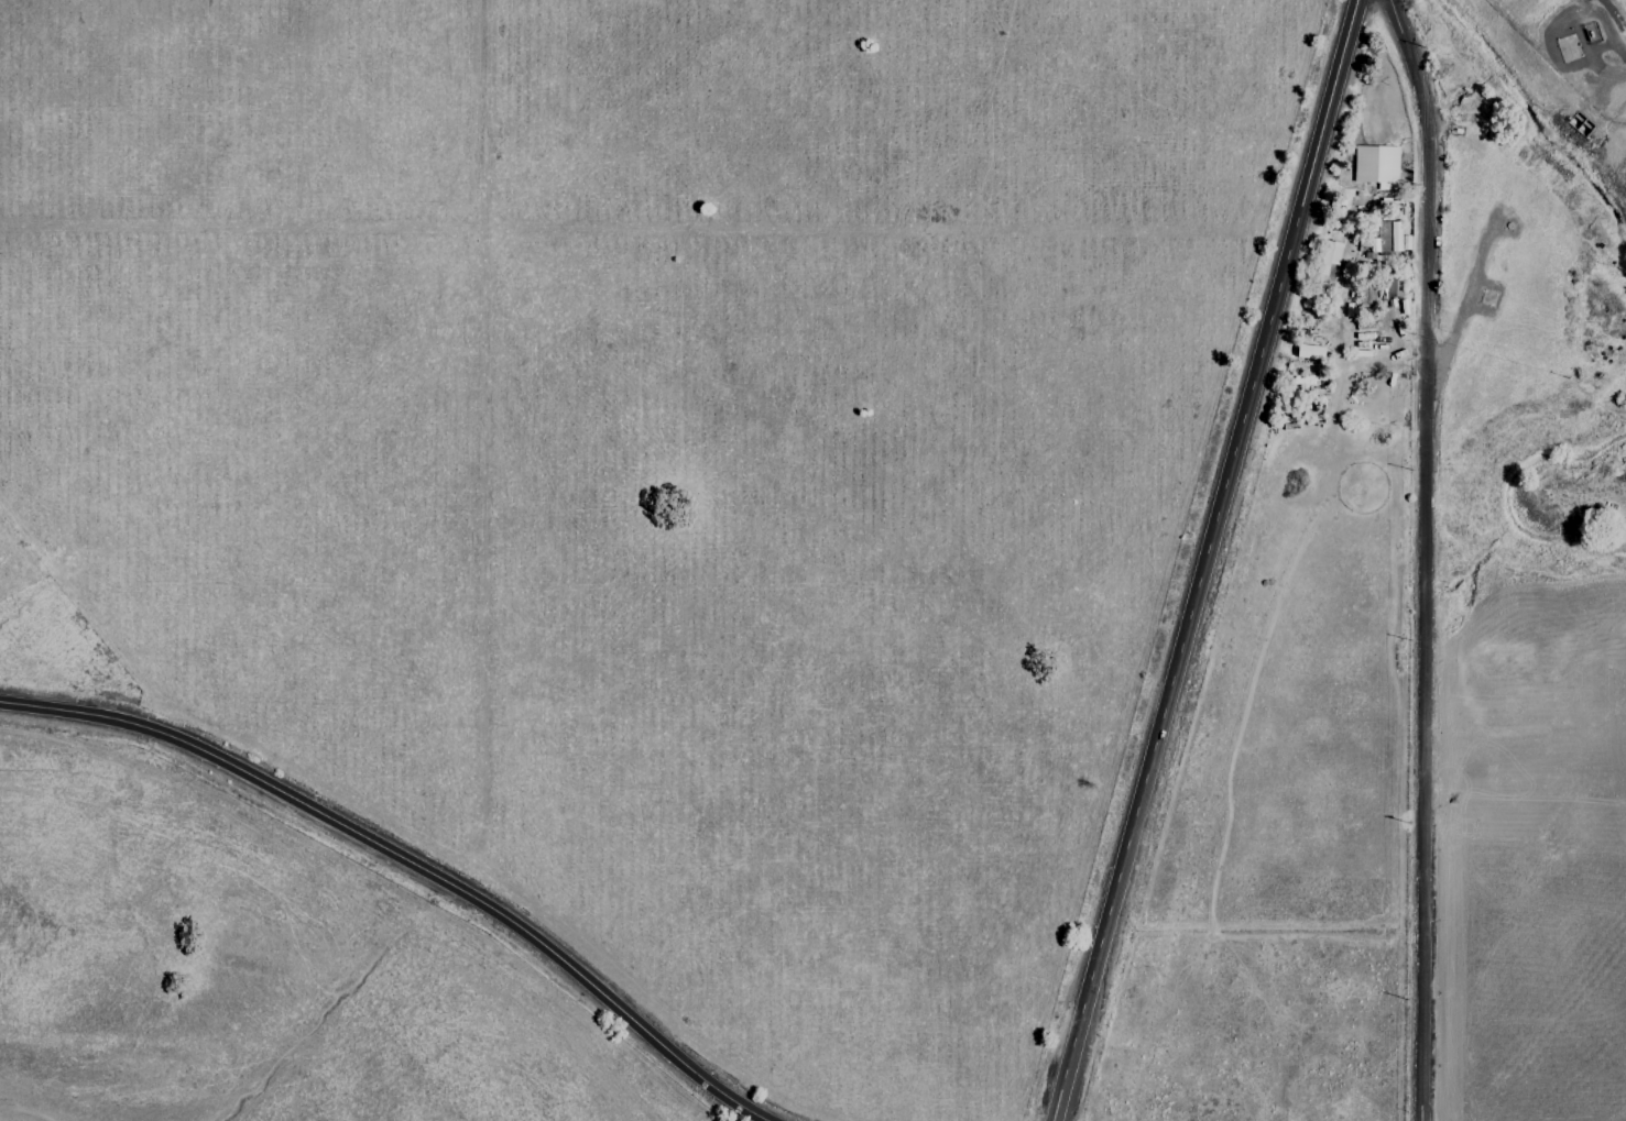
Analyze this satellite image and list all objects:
road: (1611, 76)
building: (1309, 352)
park: (604, 537)
road: (1425, 556)
road: (1201, 558)
road: (408, 864)

